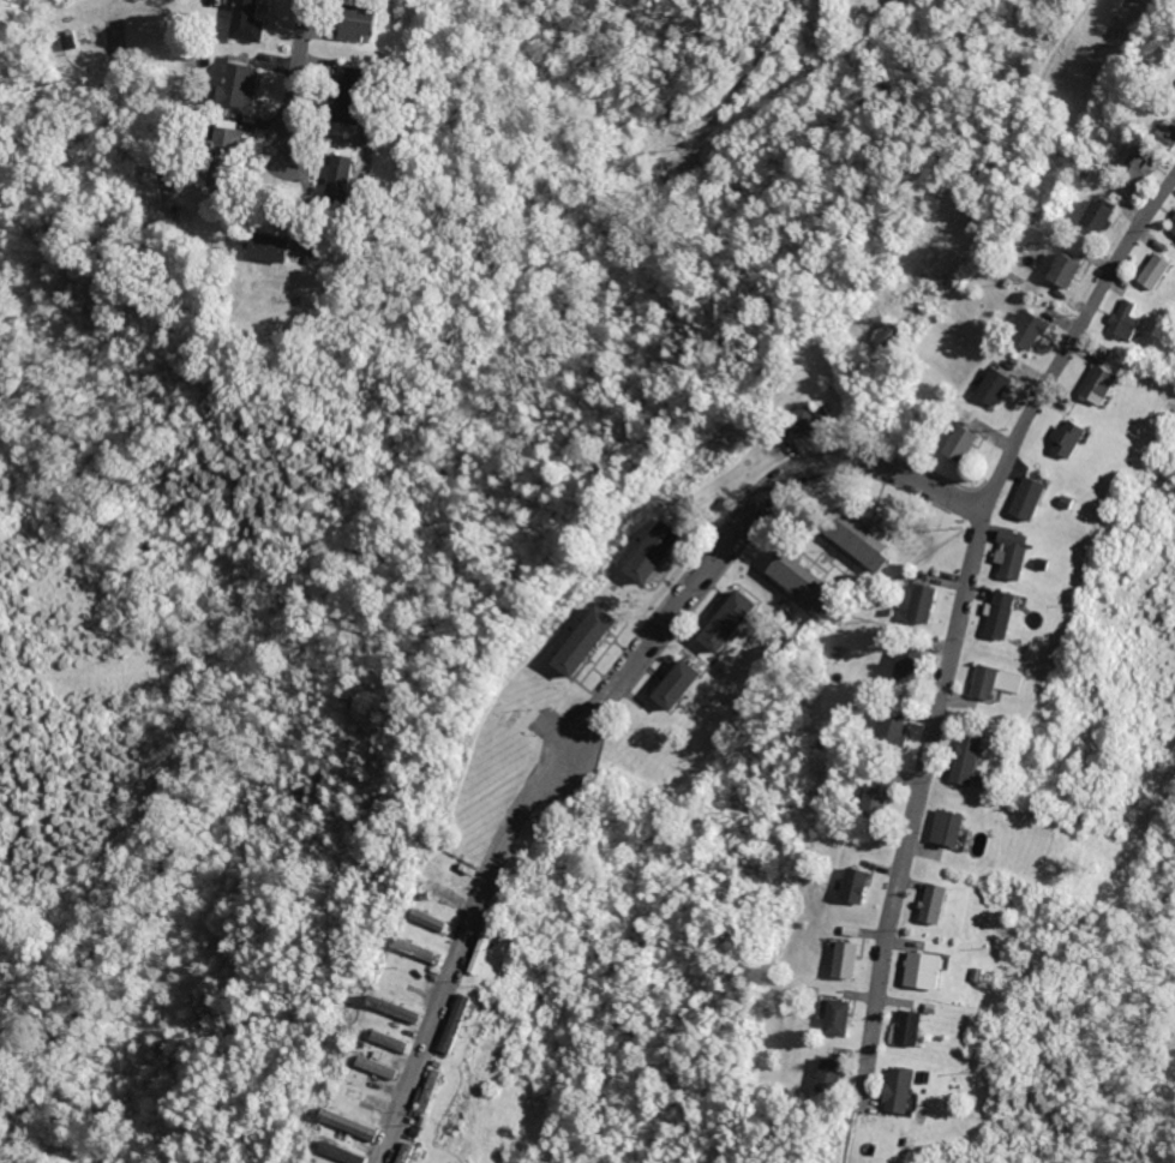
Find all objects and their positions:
building: (238, 19)
building: (337, 20)
building: (366, 22)
building: (88, 31)
building: (244, 80)
building: (227, 84)
road: (295, 86)
building: (330, 92)
building: (1165, 137)
building: (216, 140)
building: (346, 174)
building: (1135, 174)
building: (314, 176)
building: (172, 211)
building: (1096, 217)
building: (1171, 233)
building: (248, 245)
building: (277, 246)
building: (1063, 276)
building: (1155, 281)
building: (1029, 334)
building: (1126, 334)
road: (1073, 340)
building: (990, 386)
building: (1098, 397)
building: (793, 408)
building: (815, 413)
building: (960, 443)
building: (1068, 449)
building: (1027, 505)
building: (1063, 509)
building: (862, 545)
building: (651, 551)
building: (1012, 562)
building: (797, 580)
building: (918, 604)
building: (723, 611)
building: (1000, 622)
building: (580, 637)
building: (911, 663)
building: (675, 683)
building: (983, 688)
building: (1008, 689)
road: (595, 711)
building: (966, 774)
building: (877, 795)
road: (888, 832)
building: (947, 838)
building: (849, 886)
building: (437, 895)
building: (930, 915)
building: (427, 924)
building: (849, 934)
building: (425, 952)
building: (480, 952)
building: (413, 955)
building: (840, 966)
building: (923, 984)
building: (978, 988)
building: (820, 1002)
building: (390, 1013)
building: (833, 1023)
building: (930, 1024)
building: (455, 1025)
building: (906, 1038)
building: (394, 1041)
building: (386, 1049)
building: (382, 1067)
building: (373, 1071)
building: (826, 1077)
building: (428, 1101)
building: (900, 1107)
building: (354, 1123)
building: (347, 1132)
building: (347, 1153)
building: (332, 1156)
building: (406, 1159)

